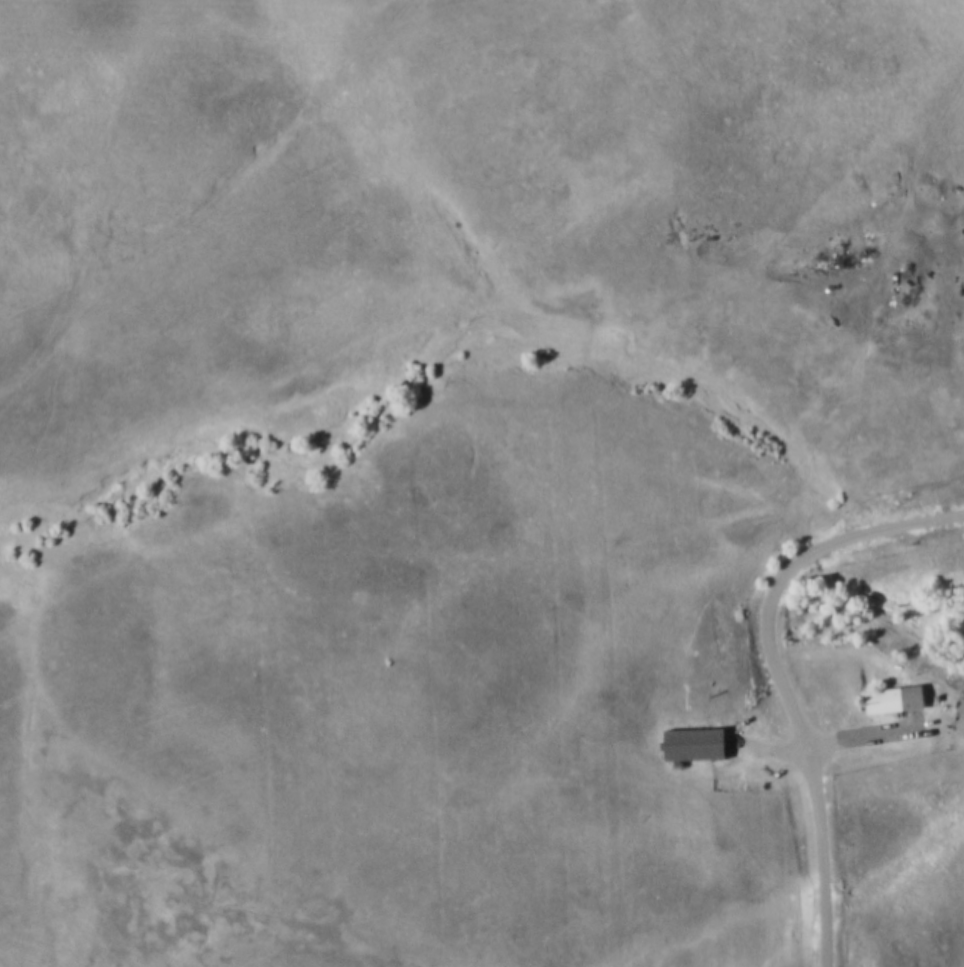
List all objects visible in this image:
road: (914, 153)
road: (788, 679)
building: (899, 699)
building: (697, 743)

